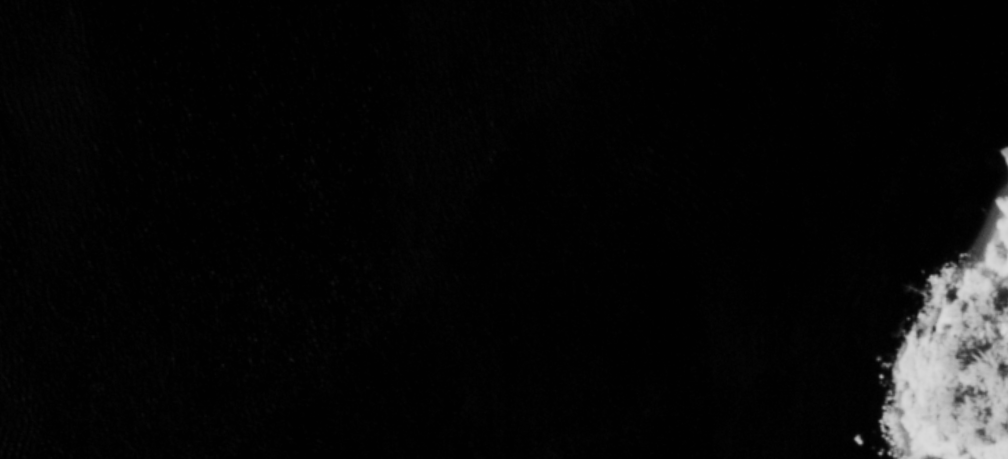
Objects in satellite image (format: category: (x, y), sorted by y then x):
river: (138, 101)

